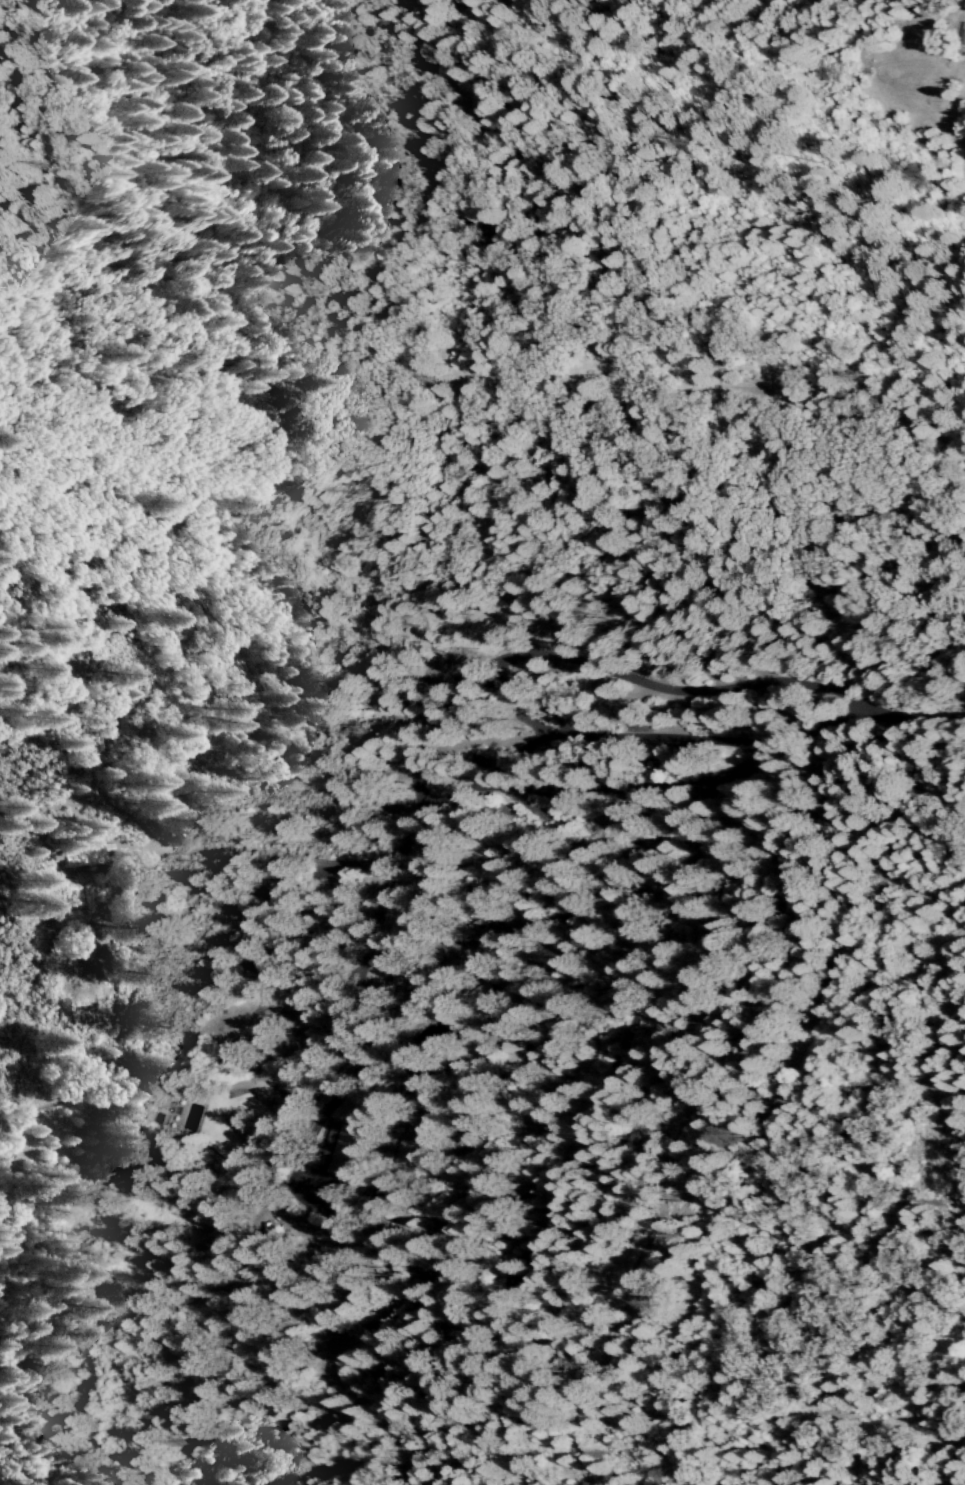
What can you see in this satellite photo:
road: (156, 372)
road: (849, 710)
building: (568, 809)
building: (81, 858)
building: (64, 919)
building: (431, 926)
building: (396, 971)
building: (516, 1047)
building: (507, 1069)
building: (349, 1151)
building: (398, 1172)
road: (317, 1200)

